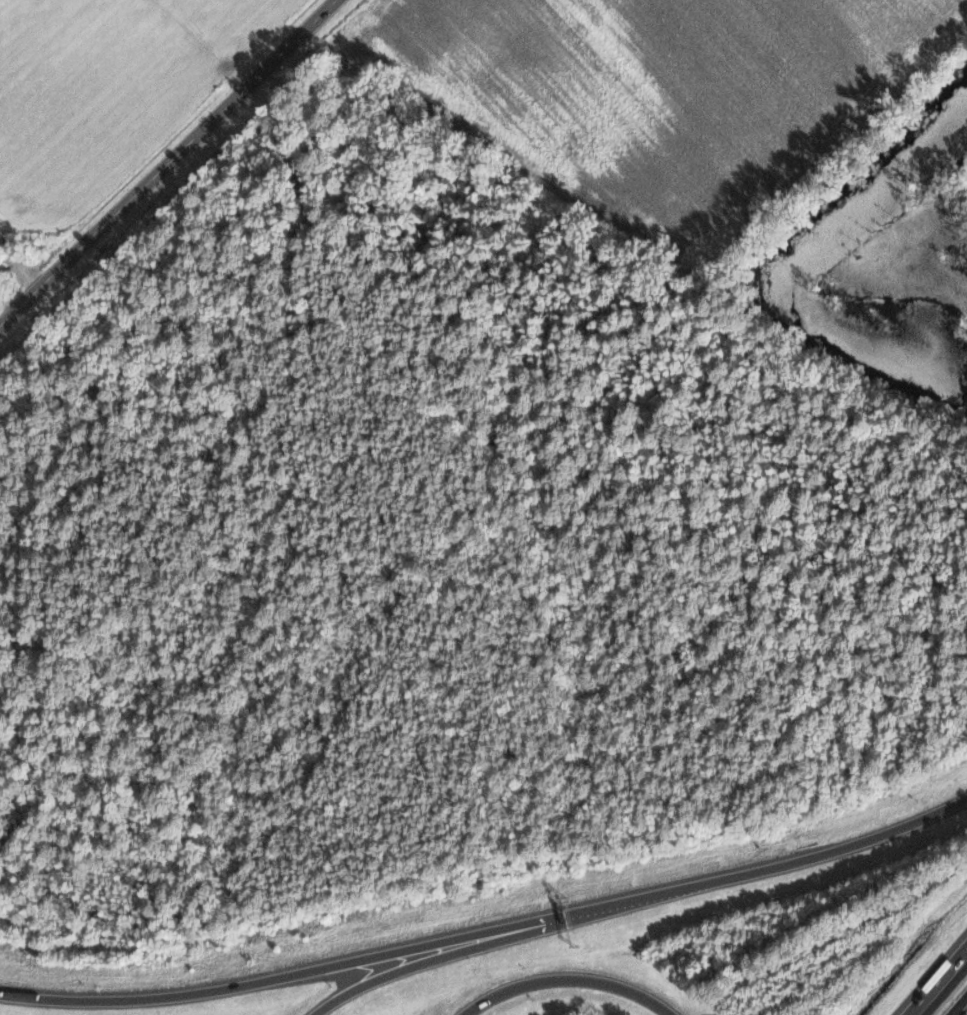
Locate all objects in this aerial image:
road: (167, 162)
road: (801, 859)
road: (469, 949)
road: (316, 969)
road: (568, 979)
road: (936, 979)

